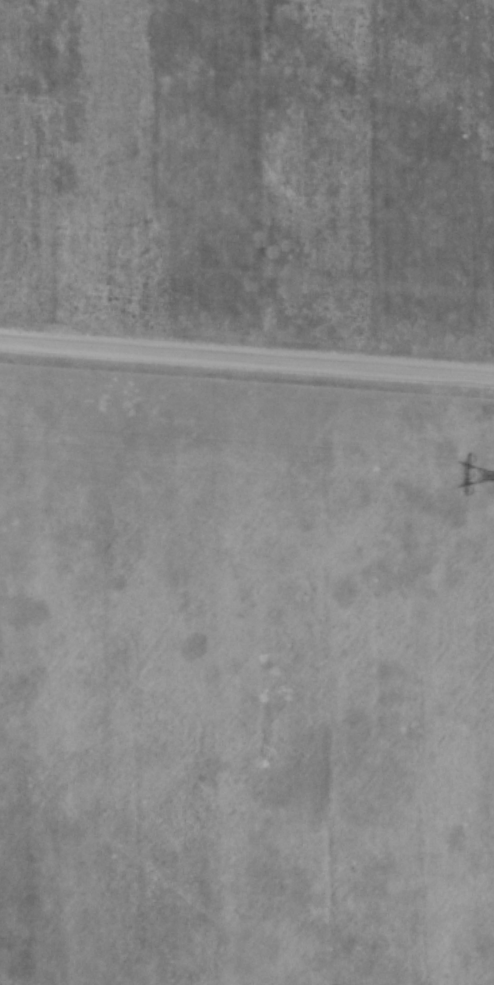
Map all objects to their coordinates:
road: (246, 359)

